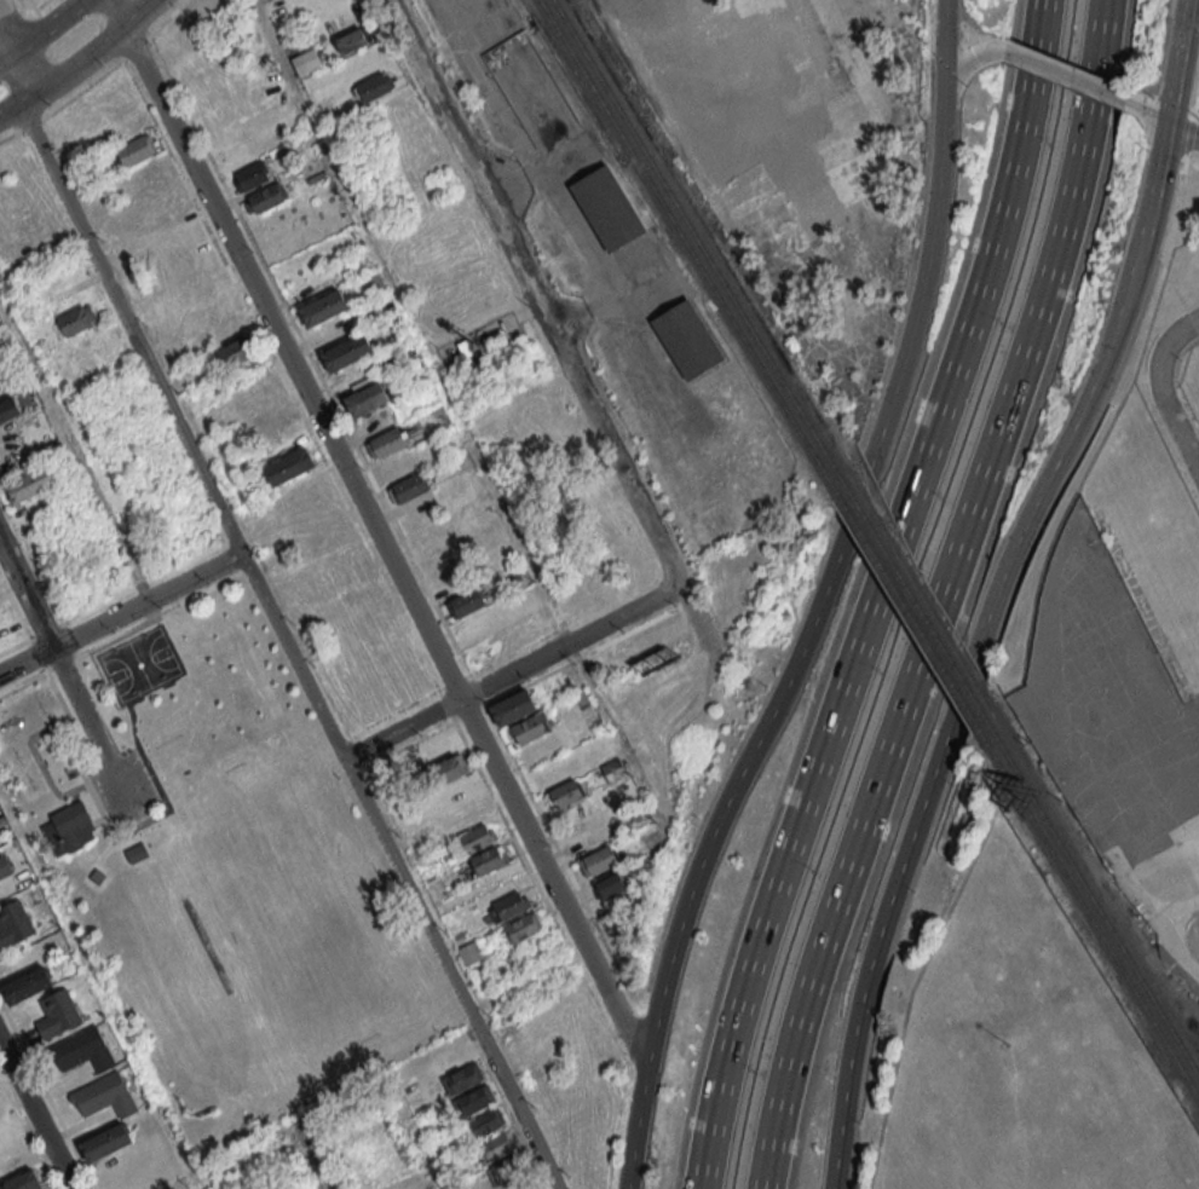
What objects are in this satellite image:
road: (1194, 6)
road: (928, 13)
road: (944, 30)
road: (45, 33)
road: (7, 36)
road: (982, 36)
building: (351, 39)
road: (1161, 50)
road: (970, 51)
building: (300, 60)
road: (1175, 60)
road: (79, 62)
road: (1066, 65)
traffic signals: (944, 67)
road: (1067, 74)
road: (18, 77)
building: (376, 85)
road: (1141, 96)
road: (1195, 99)
road: (1174, 106)
road: (1151, 114)
traffic signals: (1166, 123)
road: (1182, 132)
road: (1189, 132)
building: (136, 150)
building: (312, 167)
building: (252, 174)
building: (266, 197)
road: (1172, 207)
building: (607, 208)
railway: (697, 239)
railway: (690, 247)
building: (203, 284)
building: (371, 285)
building: (323, 307)
building: (76, 319)
road: (129, 329)
building: (225, 329)
road: (553, 330)
building: (686, 339)
road: (1168, 342)
building: (236, 351)
building: (347, 352)
road: (1105, 356)
road: (1175, 382)
building: (254, 398)
building: (364, 398)
building: (8, 406)
road: (459, 415)
building: (266, 421)
road: (1176, 428)
building: (387, 441)
road: (75, 445)
building: (399, 464)
building: (289, 466)
building: (29, 484)
building: (409, 487)
building: (323, 532)
road: (376, 535)
road: (870, 594)
railway: (913, 595)
road: (932, 595)
road: (25, 596)
building: (465, 602)
road: (823, 604)
railway: (909, 610)
road: (120, 613)
building: (659, 631)
road: (512, 671)
building: (513, 709)
road: (90, 722)
building: (531, 728)
building: (450, 769)
building: (613, 769)
building: (564, 793)
building: (73, 824)
building: (477, 837)
building: (490, 859)
building: (599, 861)
building: (4, 866)
park: (224, 871)
road: (397, 871)
road: (897, 876)
building: (611, 885)
railway: (1093, 891)
building: (512, 905)
railway: (1089, 911)
building: (13, 923)
building: (521, 925)
building: (469, 952)
building: (28, 985)
road: (98, 986)
building: (57, 1015)
building: (82, 1050)
building: (461, 1078)
building: (105, 1096)
building: (474, 1099)
road: (34, 1119)
building: (485, 1122)
road: (419, 1136)
building: (106, 1142)
building: (496, 1145)
road: (315, 1159)
building: (507, 1168)
building: (655, 1179)
building: (22, 1181)

